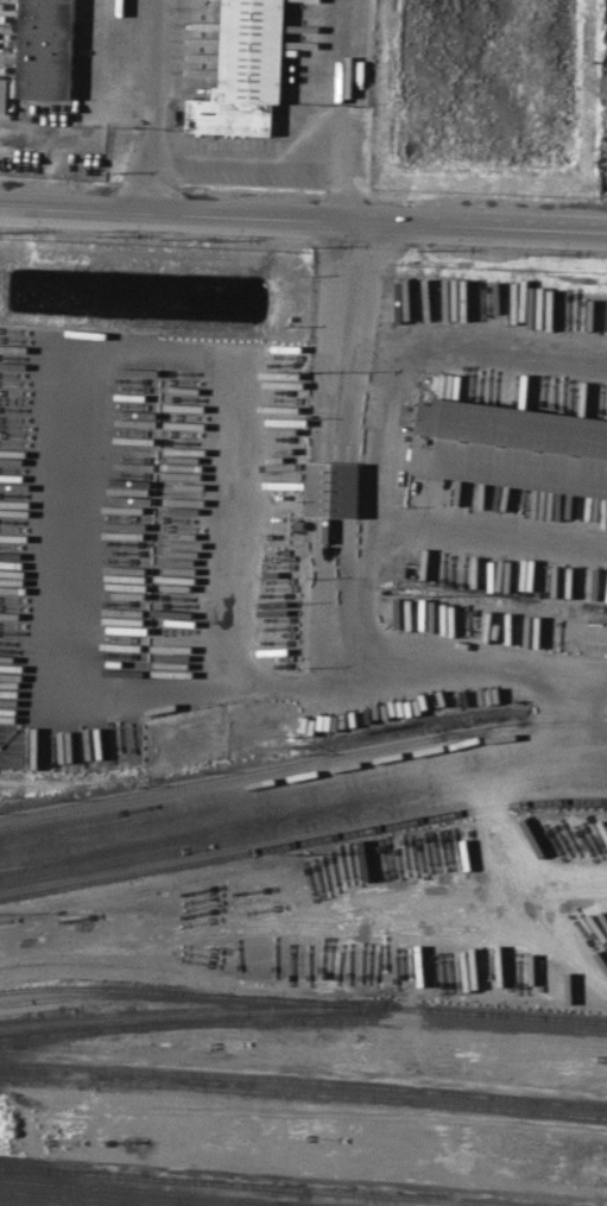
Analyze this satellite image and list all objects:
building: (45, 49)
road: (334, 51)
road: (152, 62)
building: (244, 70)
road: (245, 156)
road: (340, 162)
road: (147, 169)
road: (303, 220)
building: (61, 301)
building: (301, 314)
road: (330, 340)
road: (356, 341)
building: (48, 396)
road: (385, 417)
building: (512, 444)
building: (144, 459)
road: (321, 487)
building: (333, 487)
road: (346, 488)
building: (42, 522)
road: (491, 530)
road: (346, 570)
road: (324, 599)
road: (236, 646)
road: (567, 714)
building: (62, 726)
railway: (302, 760)
road: (302, 801)
railway: (302, 840)
railway: (32, 999)
railway: (303, 1000)
railway: (67, 1008)
railway: (190, 1011)
railway: (303, 1019)
railway: (303, 1084)
railway: (303, 1095)
railway: (267, 1186)
railway: (179, 1192)
railway: (103, 1198)
railway: (8, 1205)

